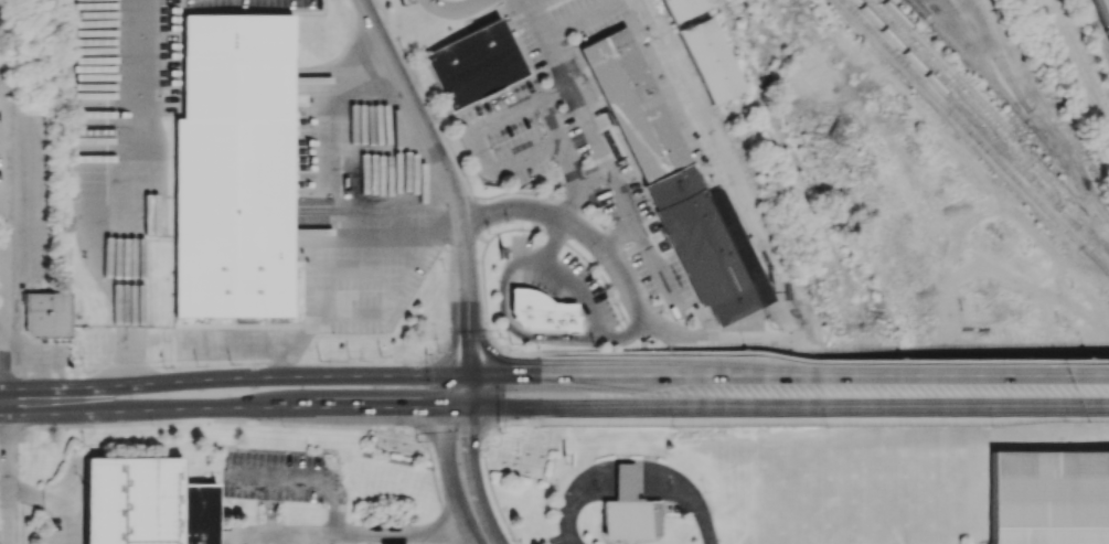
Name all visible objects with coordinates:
building: (681, 8)
road: (457, 9)
railway: (1102, 15)
railway: (1002, 56)
railway: (969, 58)
building: (707, 60)
building: (473, 65)
railway: (1002, 86)
road: (427, 98)
building: (632, 104)
railway: (977, 110)
railway: (1032, 114)
railway: (998, 116)
road: (588, 128)
railway: (982, 128)
railway: (975, 135)
building: (234, 168)
road: (732, 171)
road: (449, 178)
road: (337, 181)
road: (132, 191)
road: (474, 216)
road: (483, 238)
road: (2, 239)
road: (1, 242)
building: (710, 244)
railway: (1096, 256)
road: (579, 296)
road: (329, 308)
building: (543, 312)
building: (46, 313)
road: (646, 316)
road: (1, 318)
road: (506, 353)
road: (827, 361)
traffic signals: (465, 374)
road: (759, 374)
road: (1081, 375)
road: (232, 376)
road: (458, 390)
road: (0, 404)
road: (1087, 405)
road: (225, 406)
traffic signals: (451, 406)
road: (758, 406)
road: (830, 419)
road: (500, 426)
road: (2, 473)
road: (314, 473)
road: (456, 477)
building: (1049, 497)
building: (148, 503)
building: (630, 520)
road: (366, 534)

